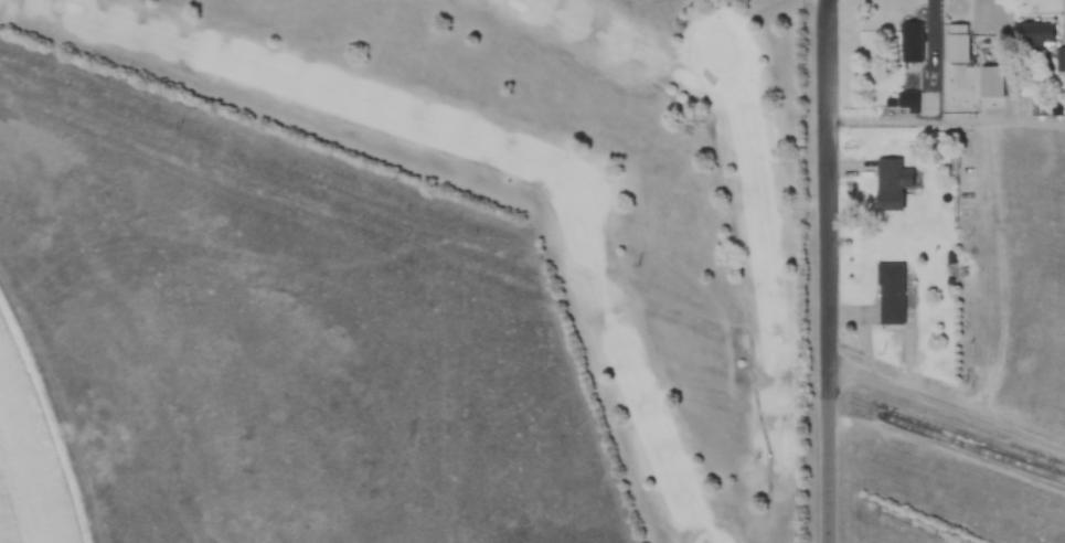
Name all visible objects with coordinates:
building: (1030, 40)
building: (907, 43)
building: (955, 44)
building: (1058, 61)
building: (904, 100)
building: (888, 184)
park: (574, 196)
road: (830, 270)
building: (887, 295)
road: (948, 408)
railway: (962, 433)
railway: (958, 441)

